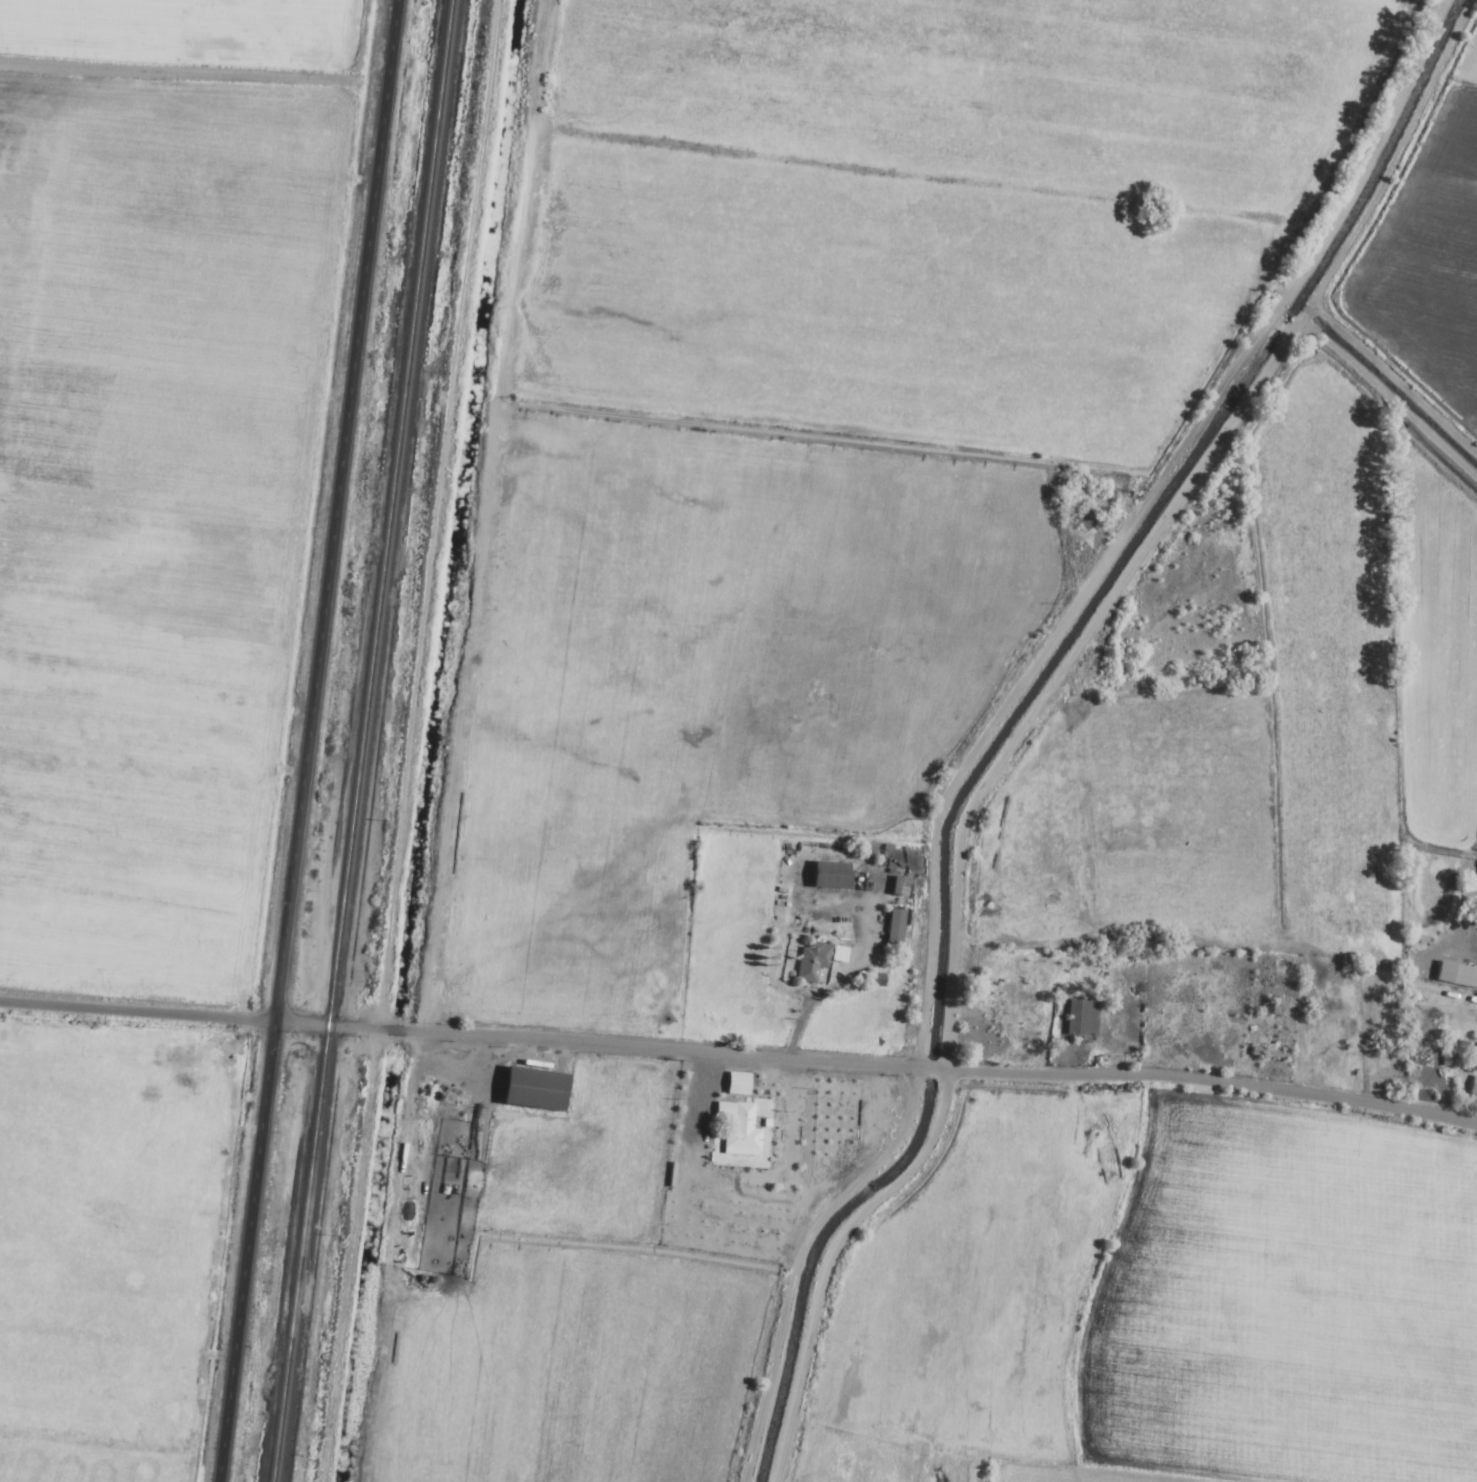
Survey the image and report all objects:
road: (1123, 519)
building: (1081, 520)
road: (304, 741)
railway: (359, 741)
building: (826, 875)
building: (896, 887)
building: (892, 926)
building: (813, 960)
building: (1455, 975)
road: (200, 1017)
building: (1078, 1020)
road: (652, 1049)
road: (924, 1069)
road: (1211, 1083)
building: (734, 1084)
building: (1471, 1086)
building: (528, 1089)
building: (735, 1129)

